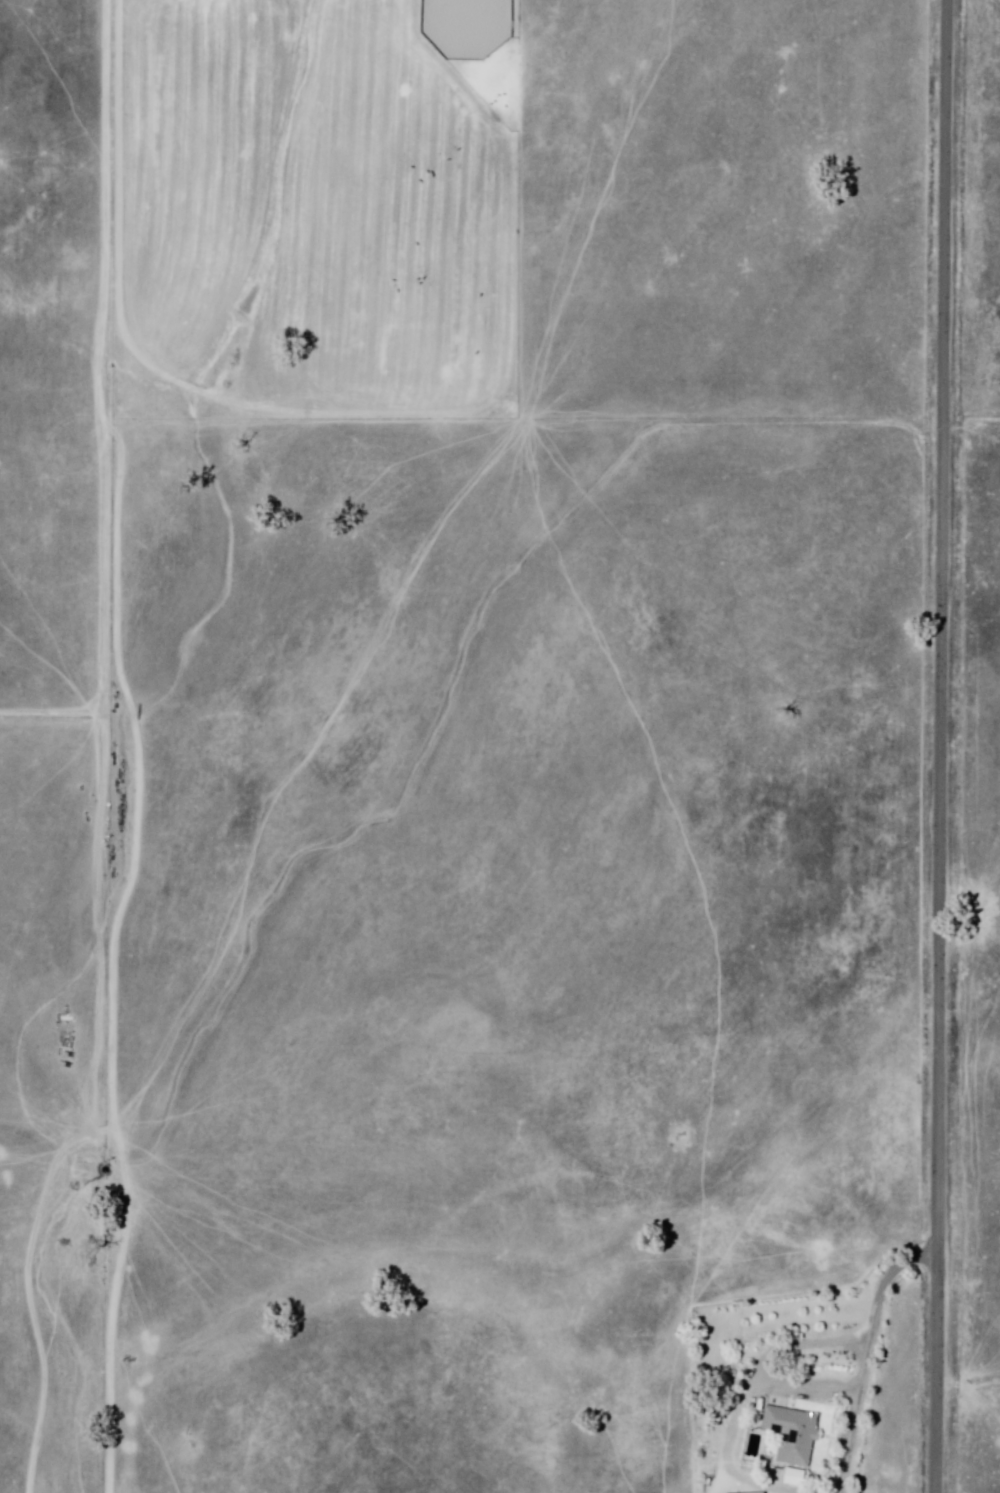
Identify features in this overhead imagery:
road: (943, 746)
building: (791, 1435)
building: (792, 1478)

